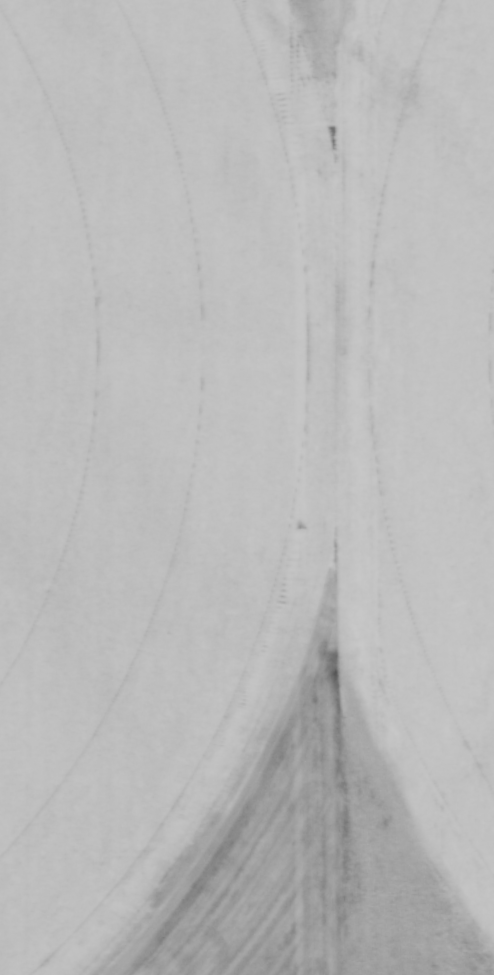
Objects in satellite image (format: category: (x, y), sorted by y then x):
crop: (237, 436)

